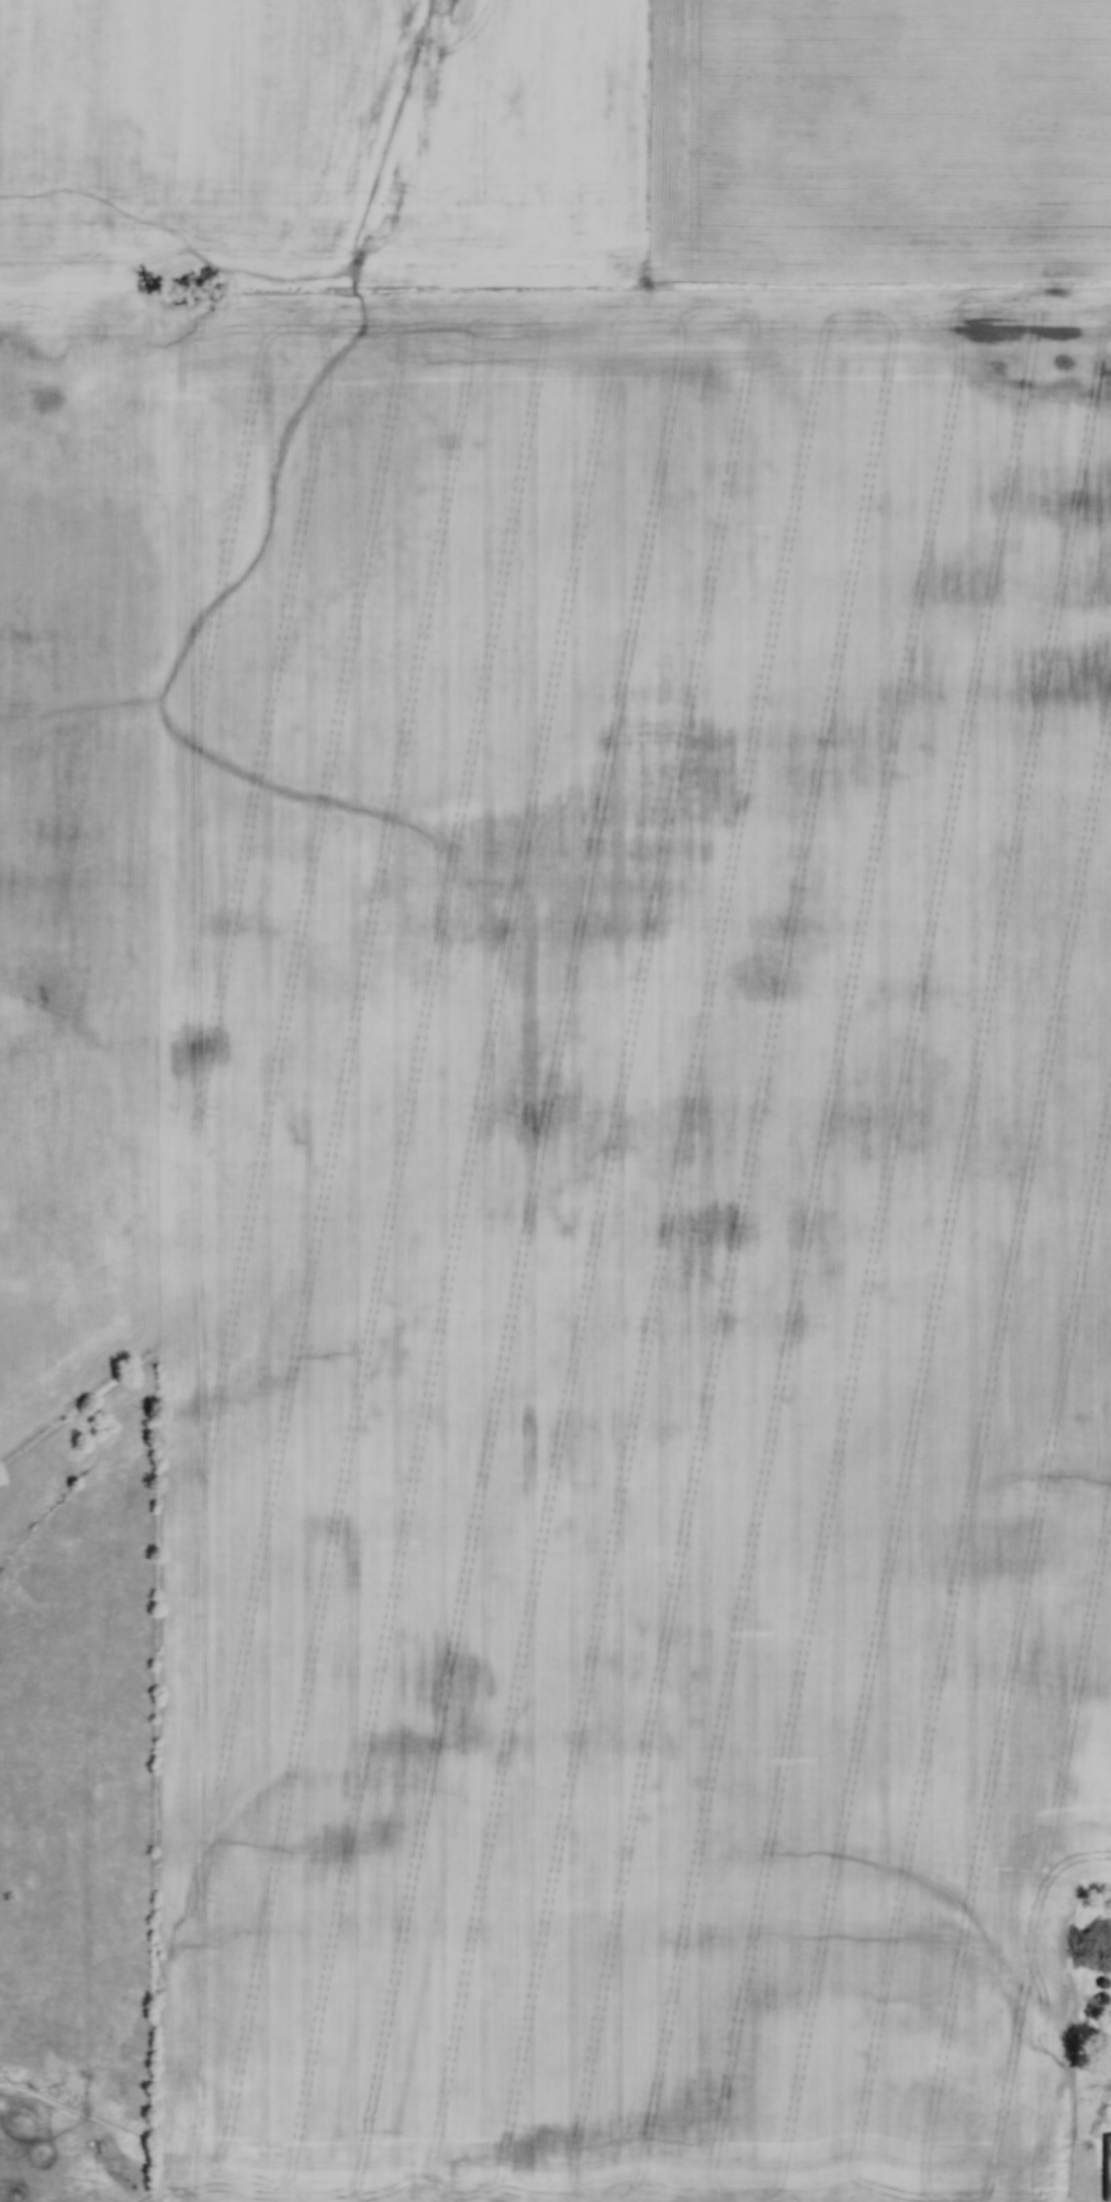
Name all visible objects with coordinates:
building: (1108, 2168)

